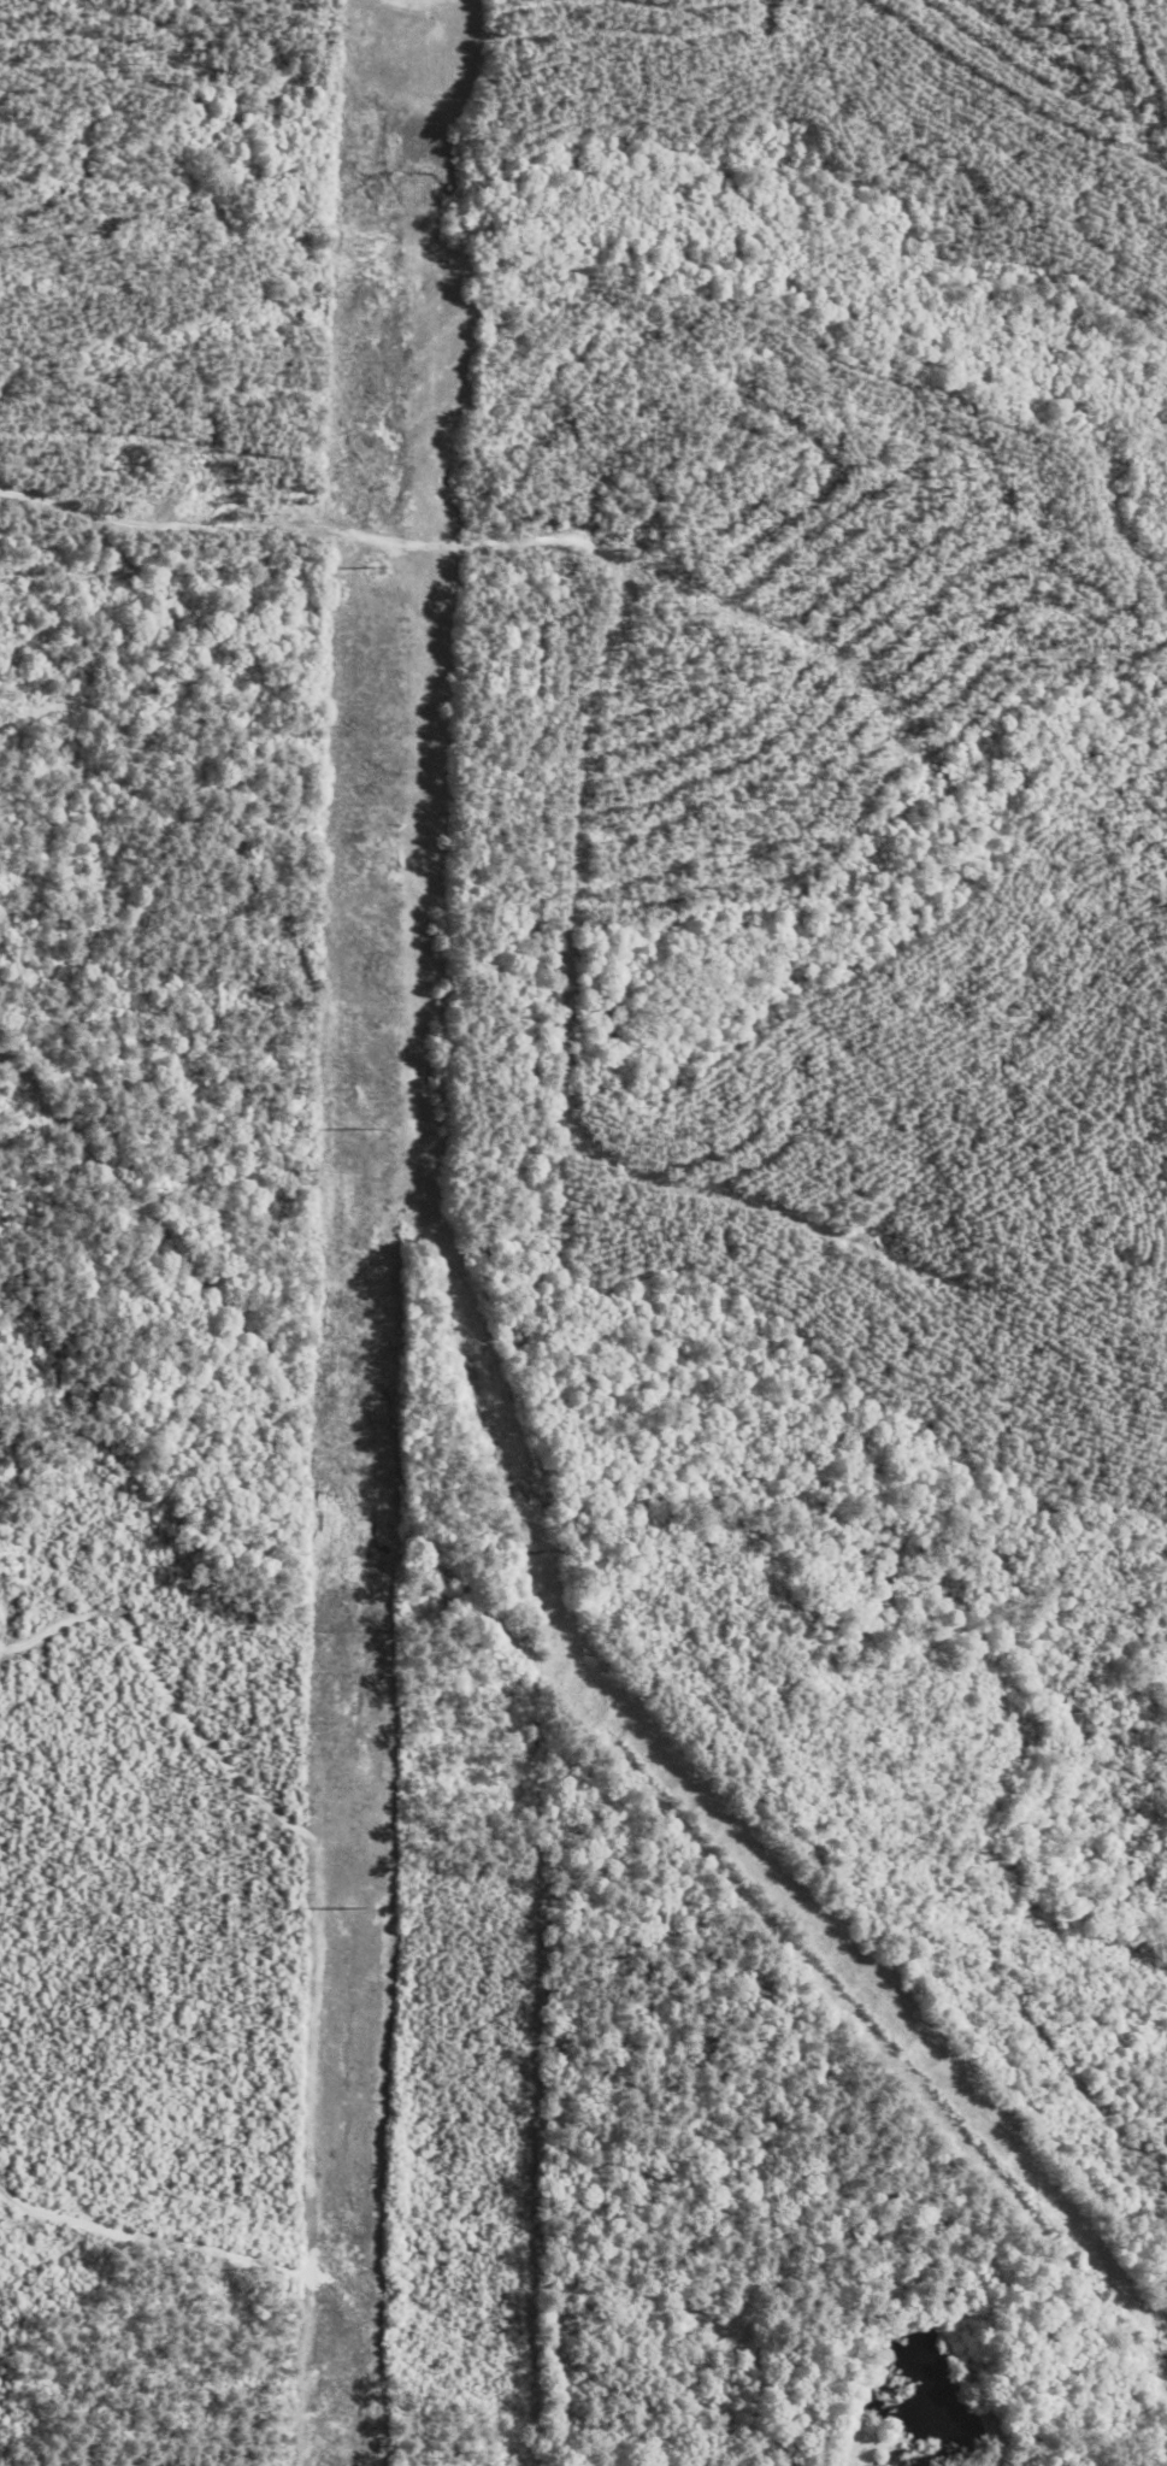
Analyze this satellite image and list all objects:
road: (372, 1088)

